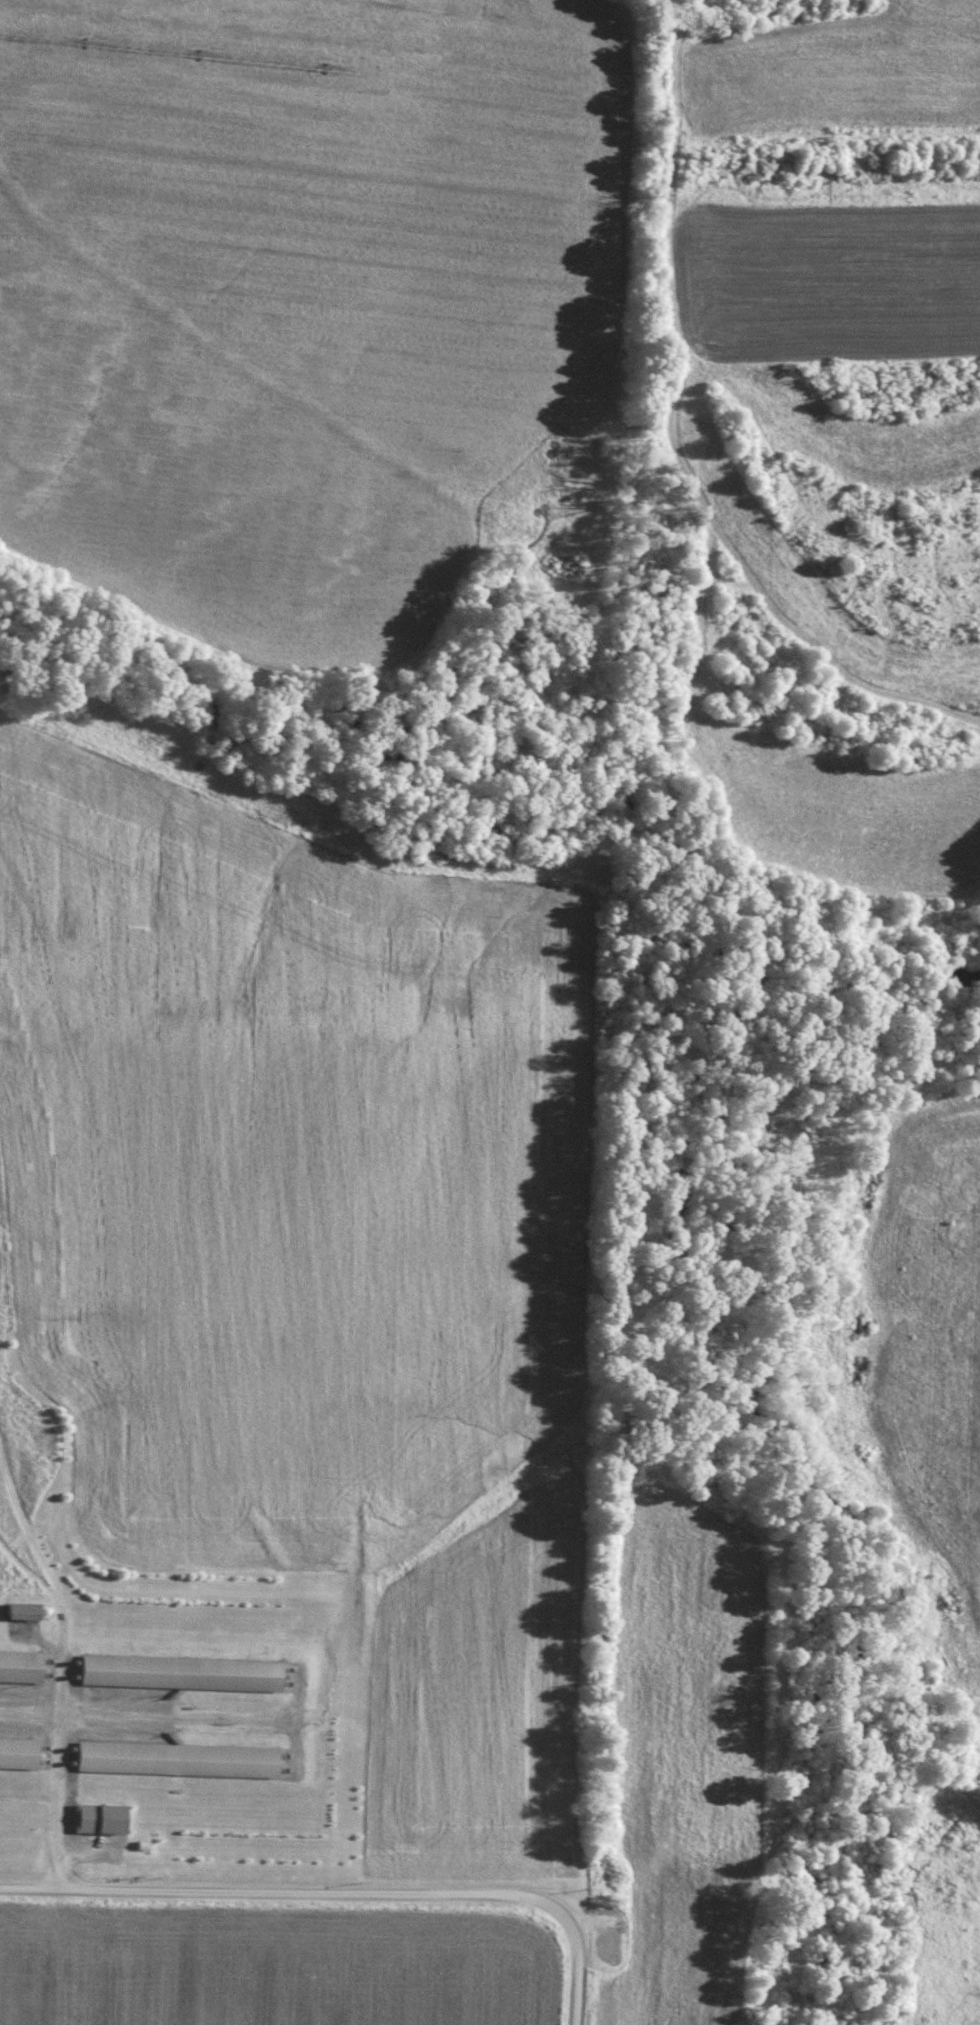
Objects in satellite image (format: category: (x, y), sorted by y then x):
building: (18, 1613)
building: (18, 1668)
building: (174, 1674)
building: (17, 1754)
building: (172, 1761)
road: (56, 1776)
building: (95, 1820)
road: (341, 1894)

